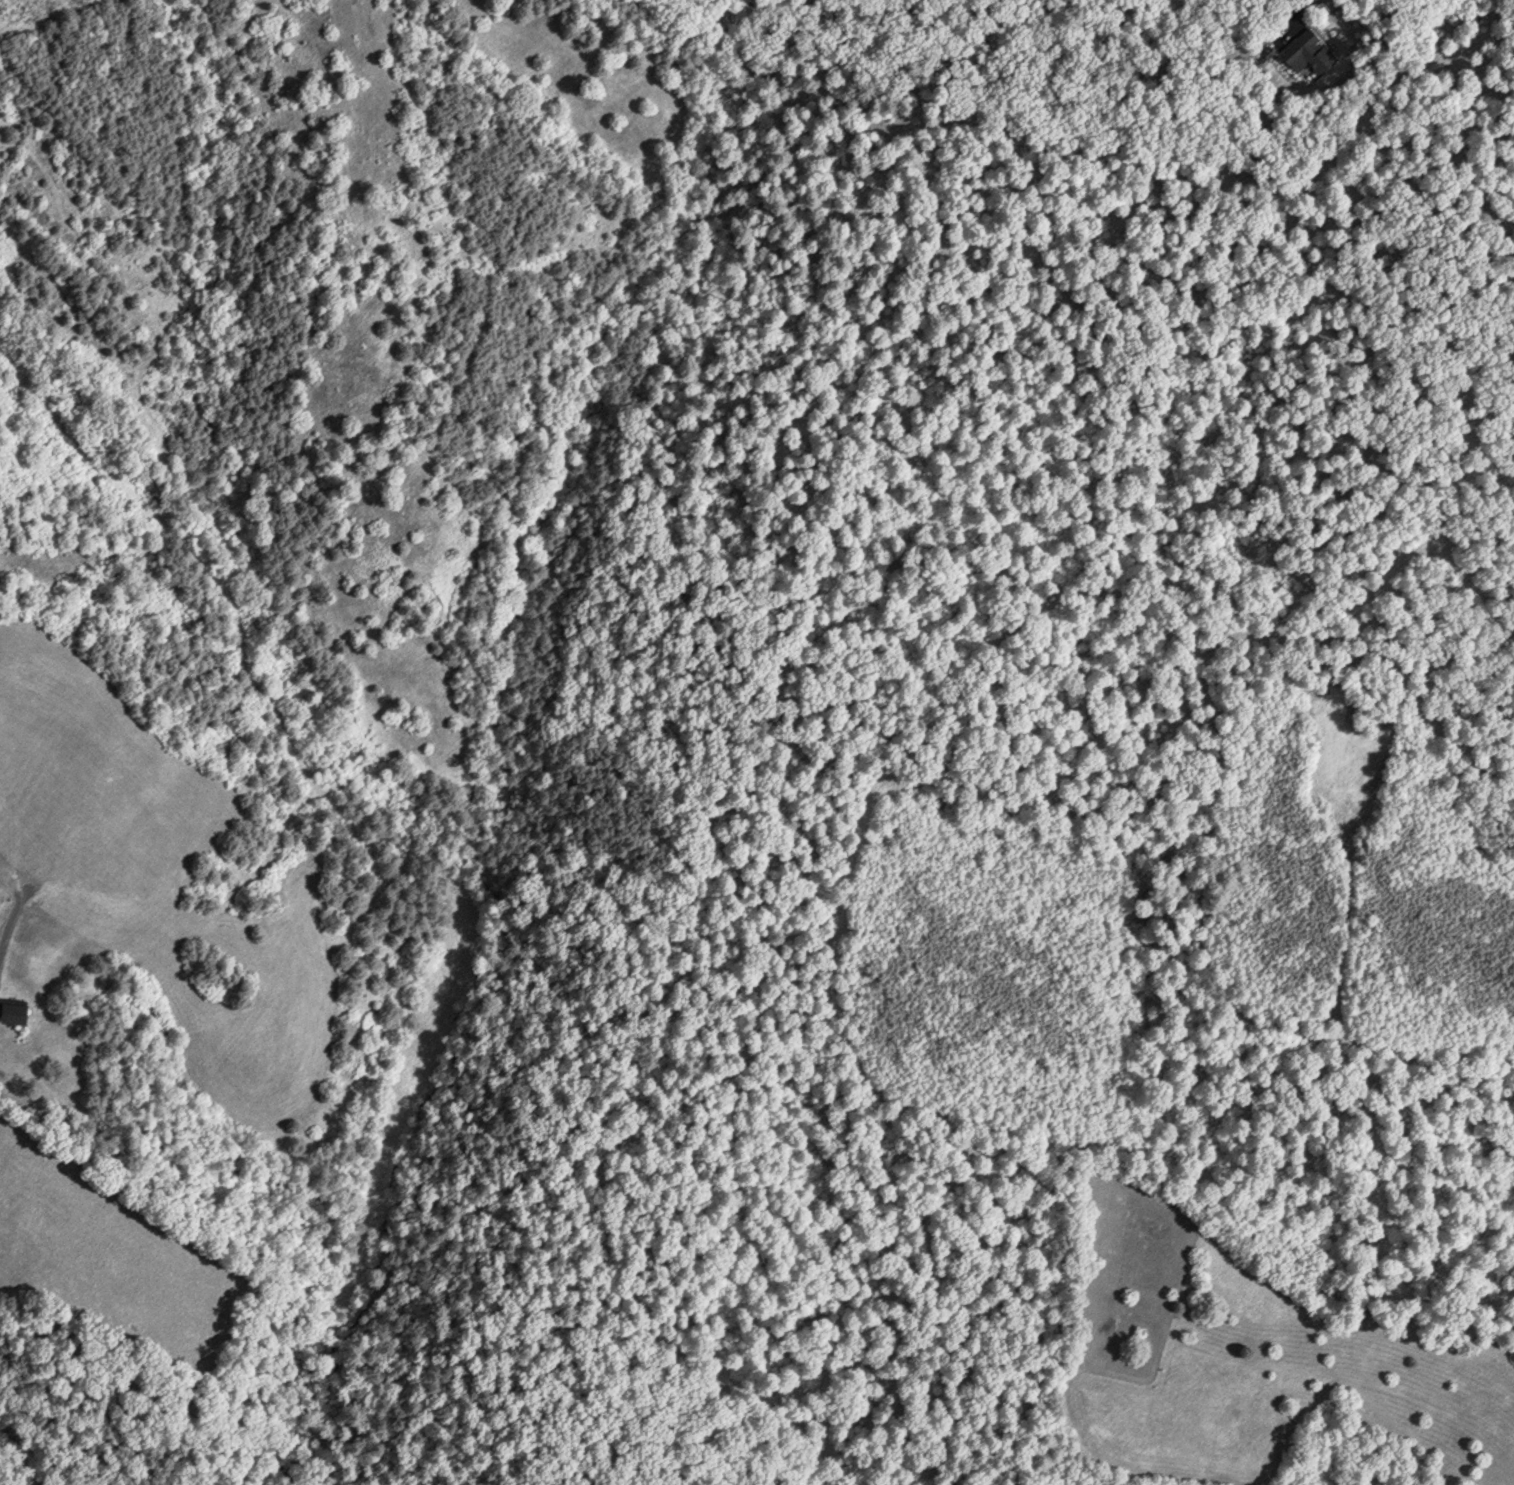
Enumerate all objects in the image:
building: (1308, 55)
road: (7, 877)
building: (16, 1010)
crop: (101, 1237)

